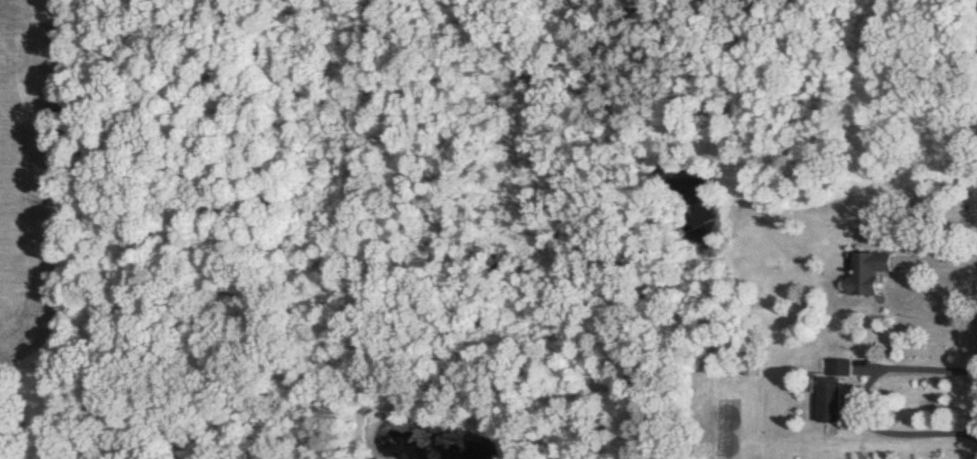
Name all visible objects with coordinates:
building: (868, 271)
building: (840, 368)
road: (867, 398)
building: (829, 399)

